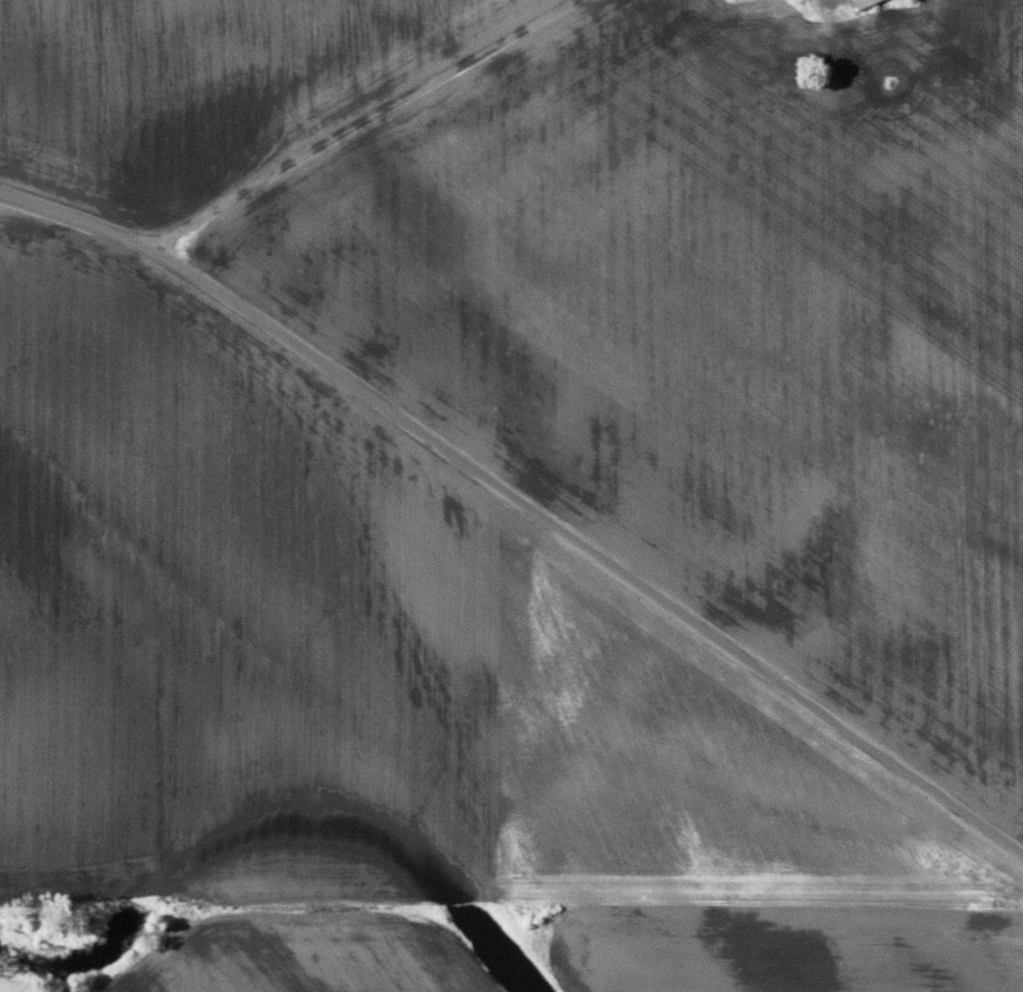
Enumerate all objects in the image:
building: (866, 4)
road: (371, 121)
road: (524, 500)

